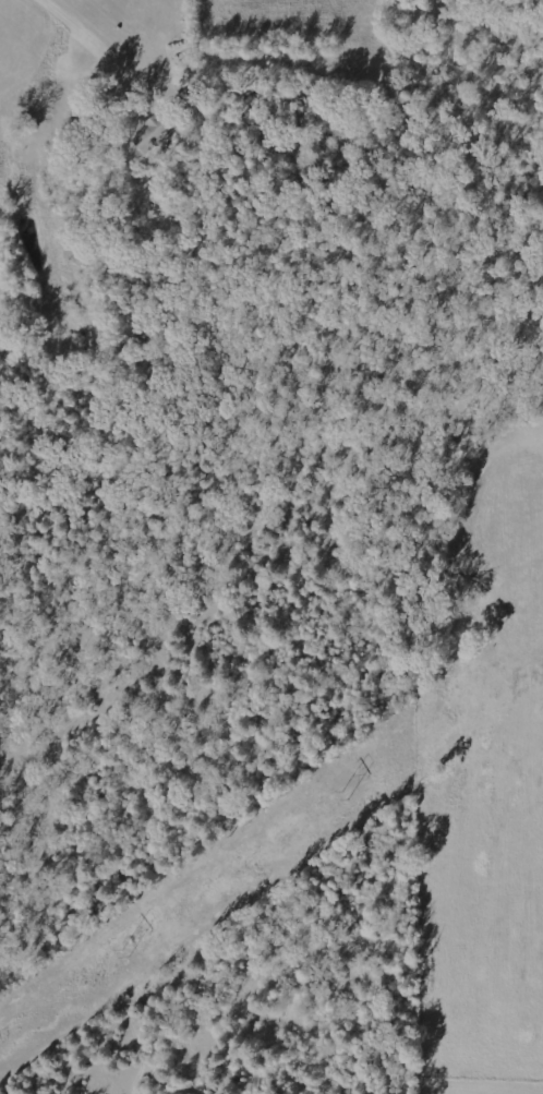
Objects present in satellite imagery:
building: (158, 127)
road: (49, 199)

